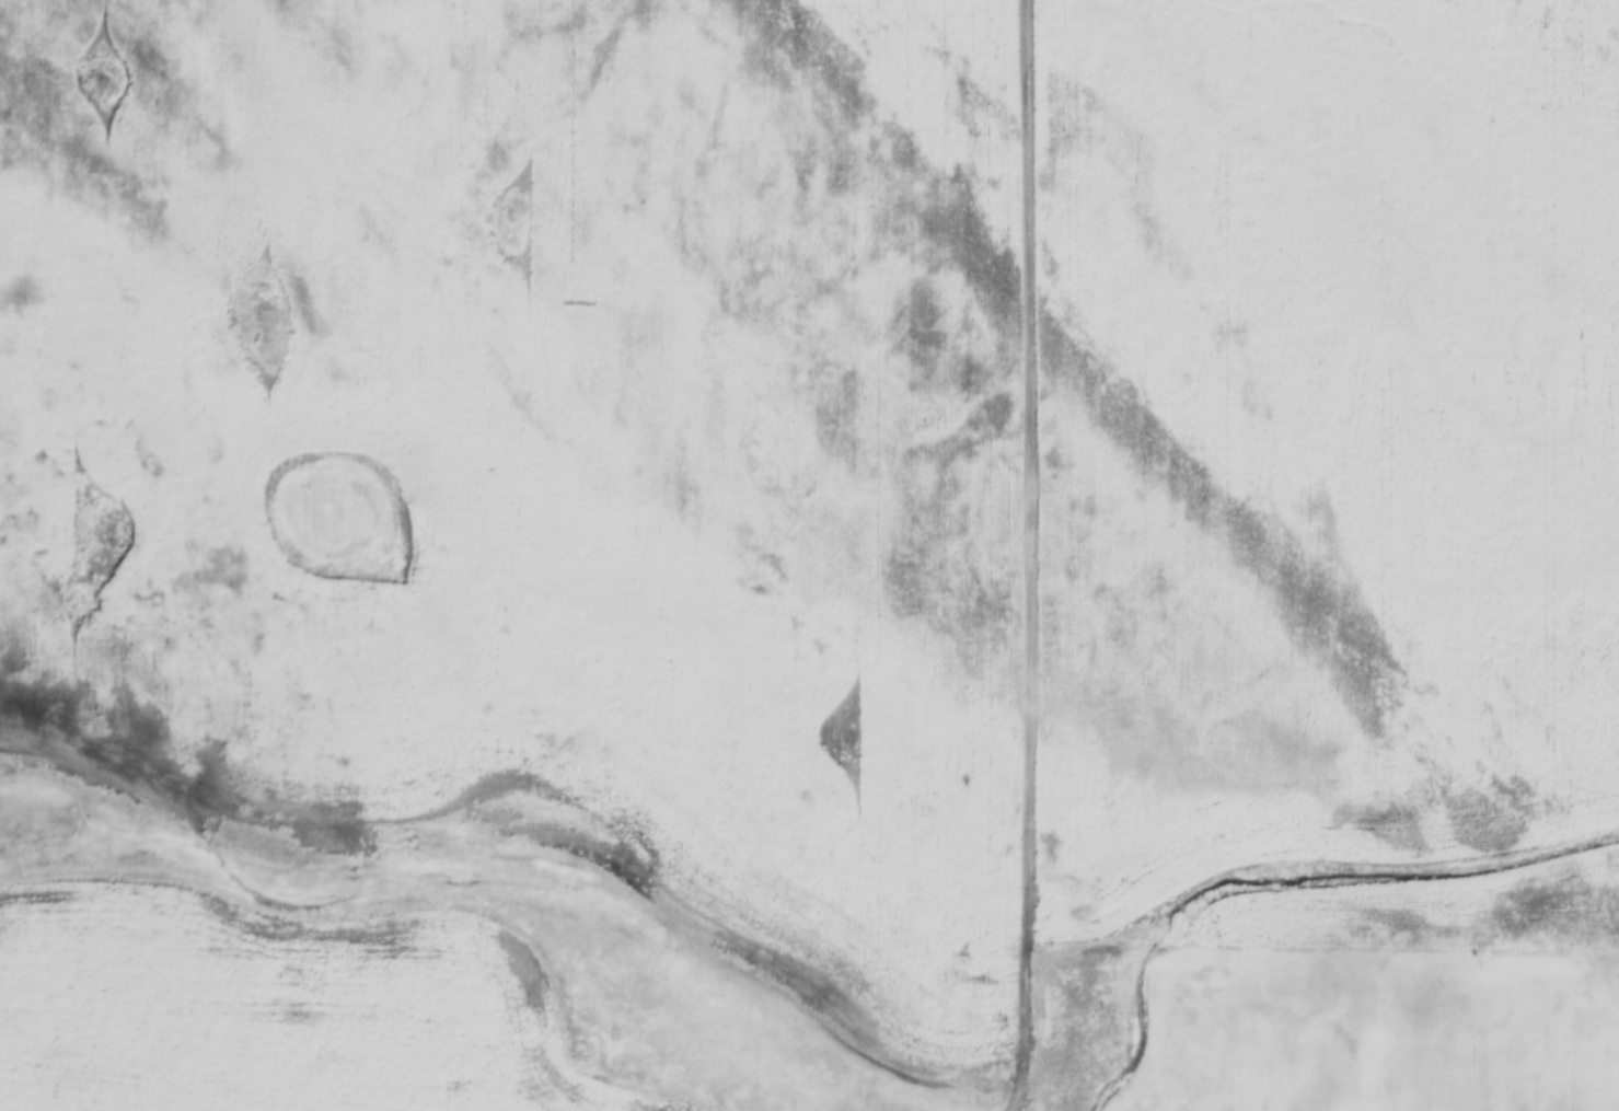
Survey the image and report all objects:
road: (1028, 595)

